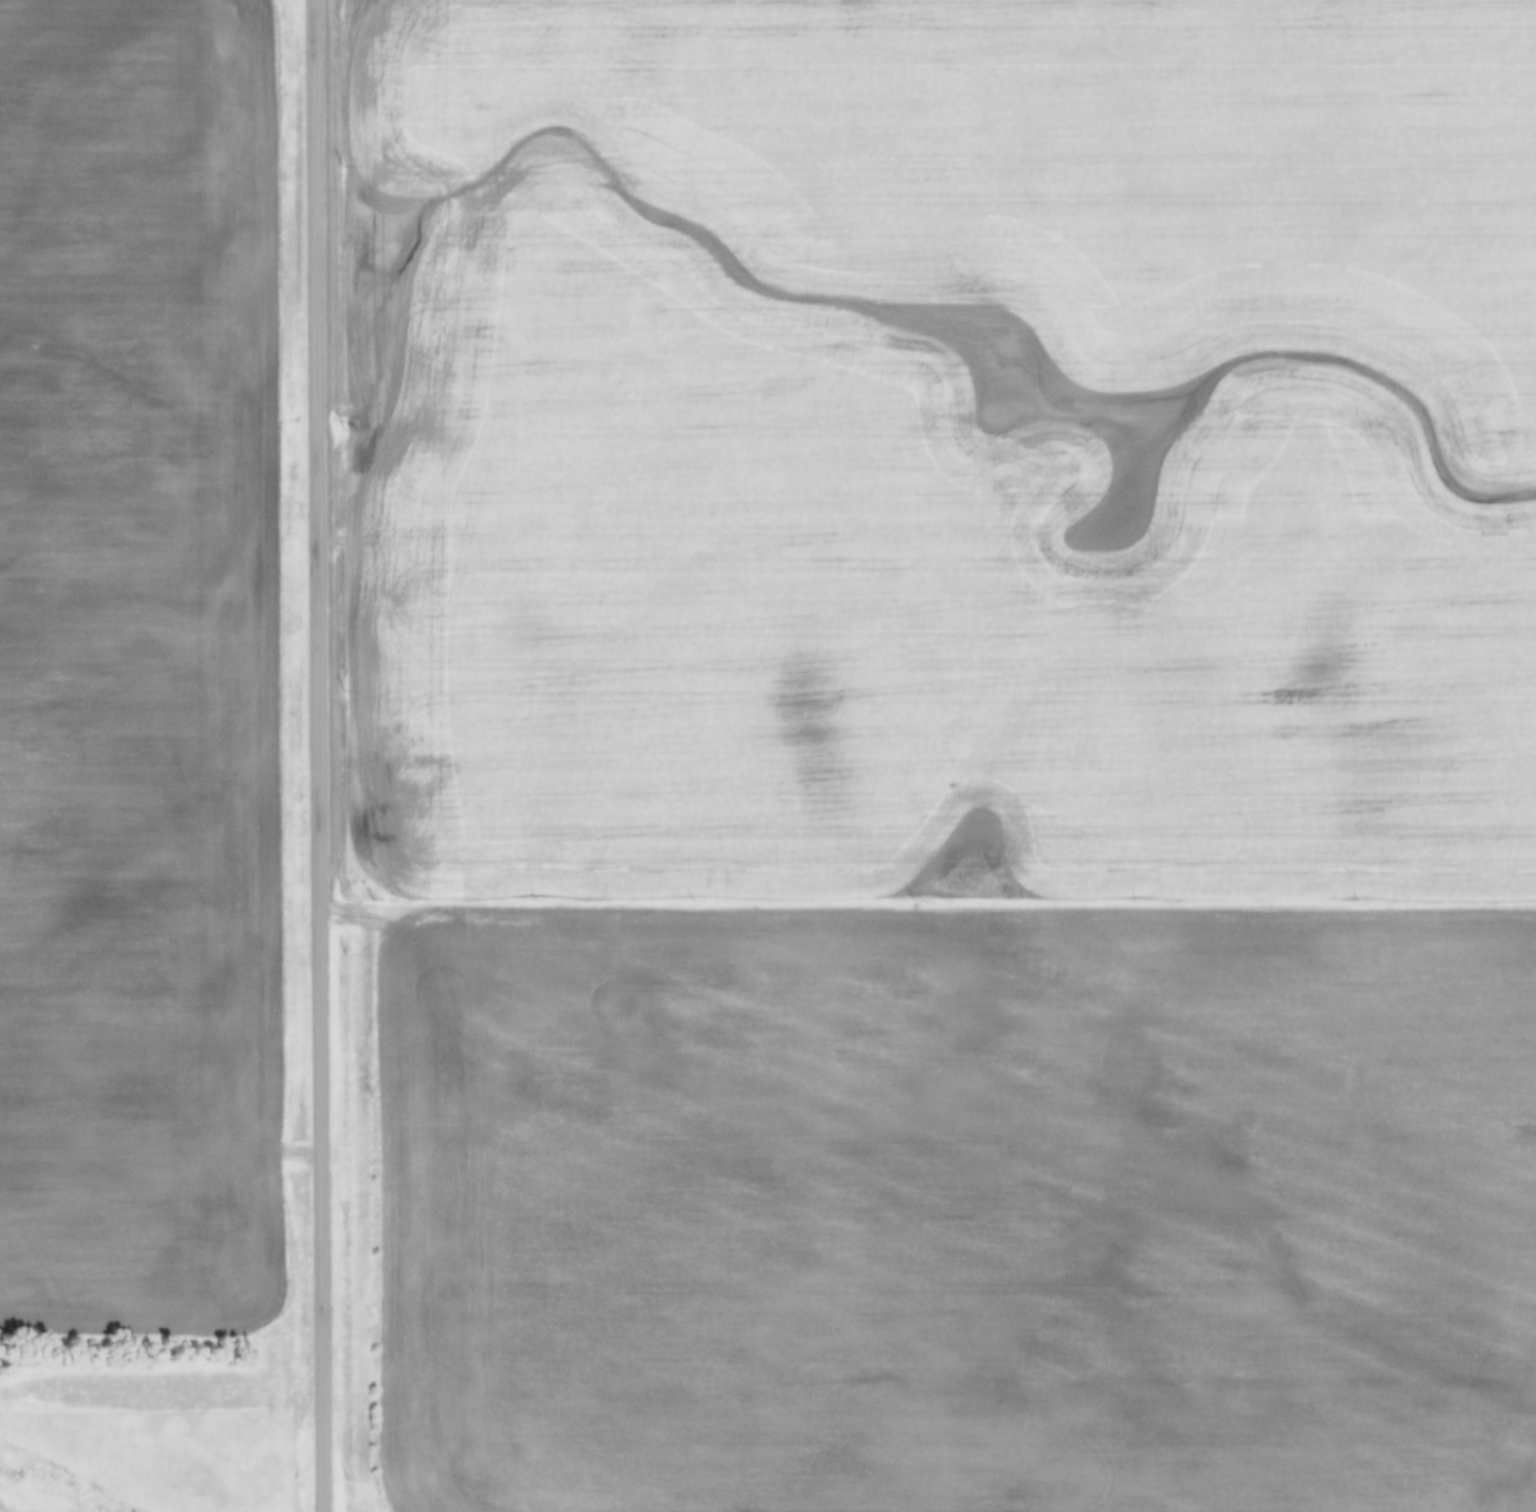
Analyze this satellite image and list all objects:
road: (317, 756)

